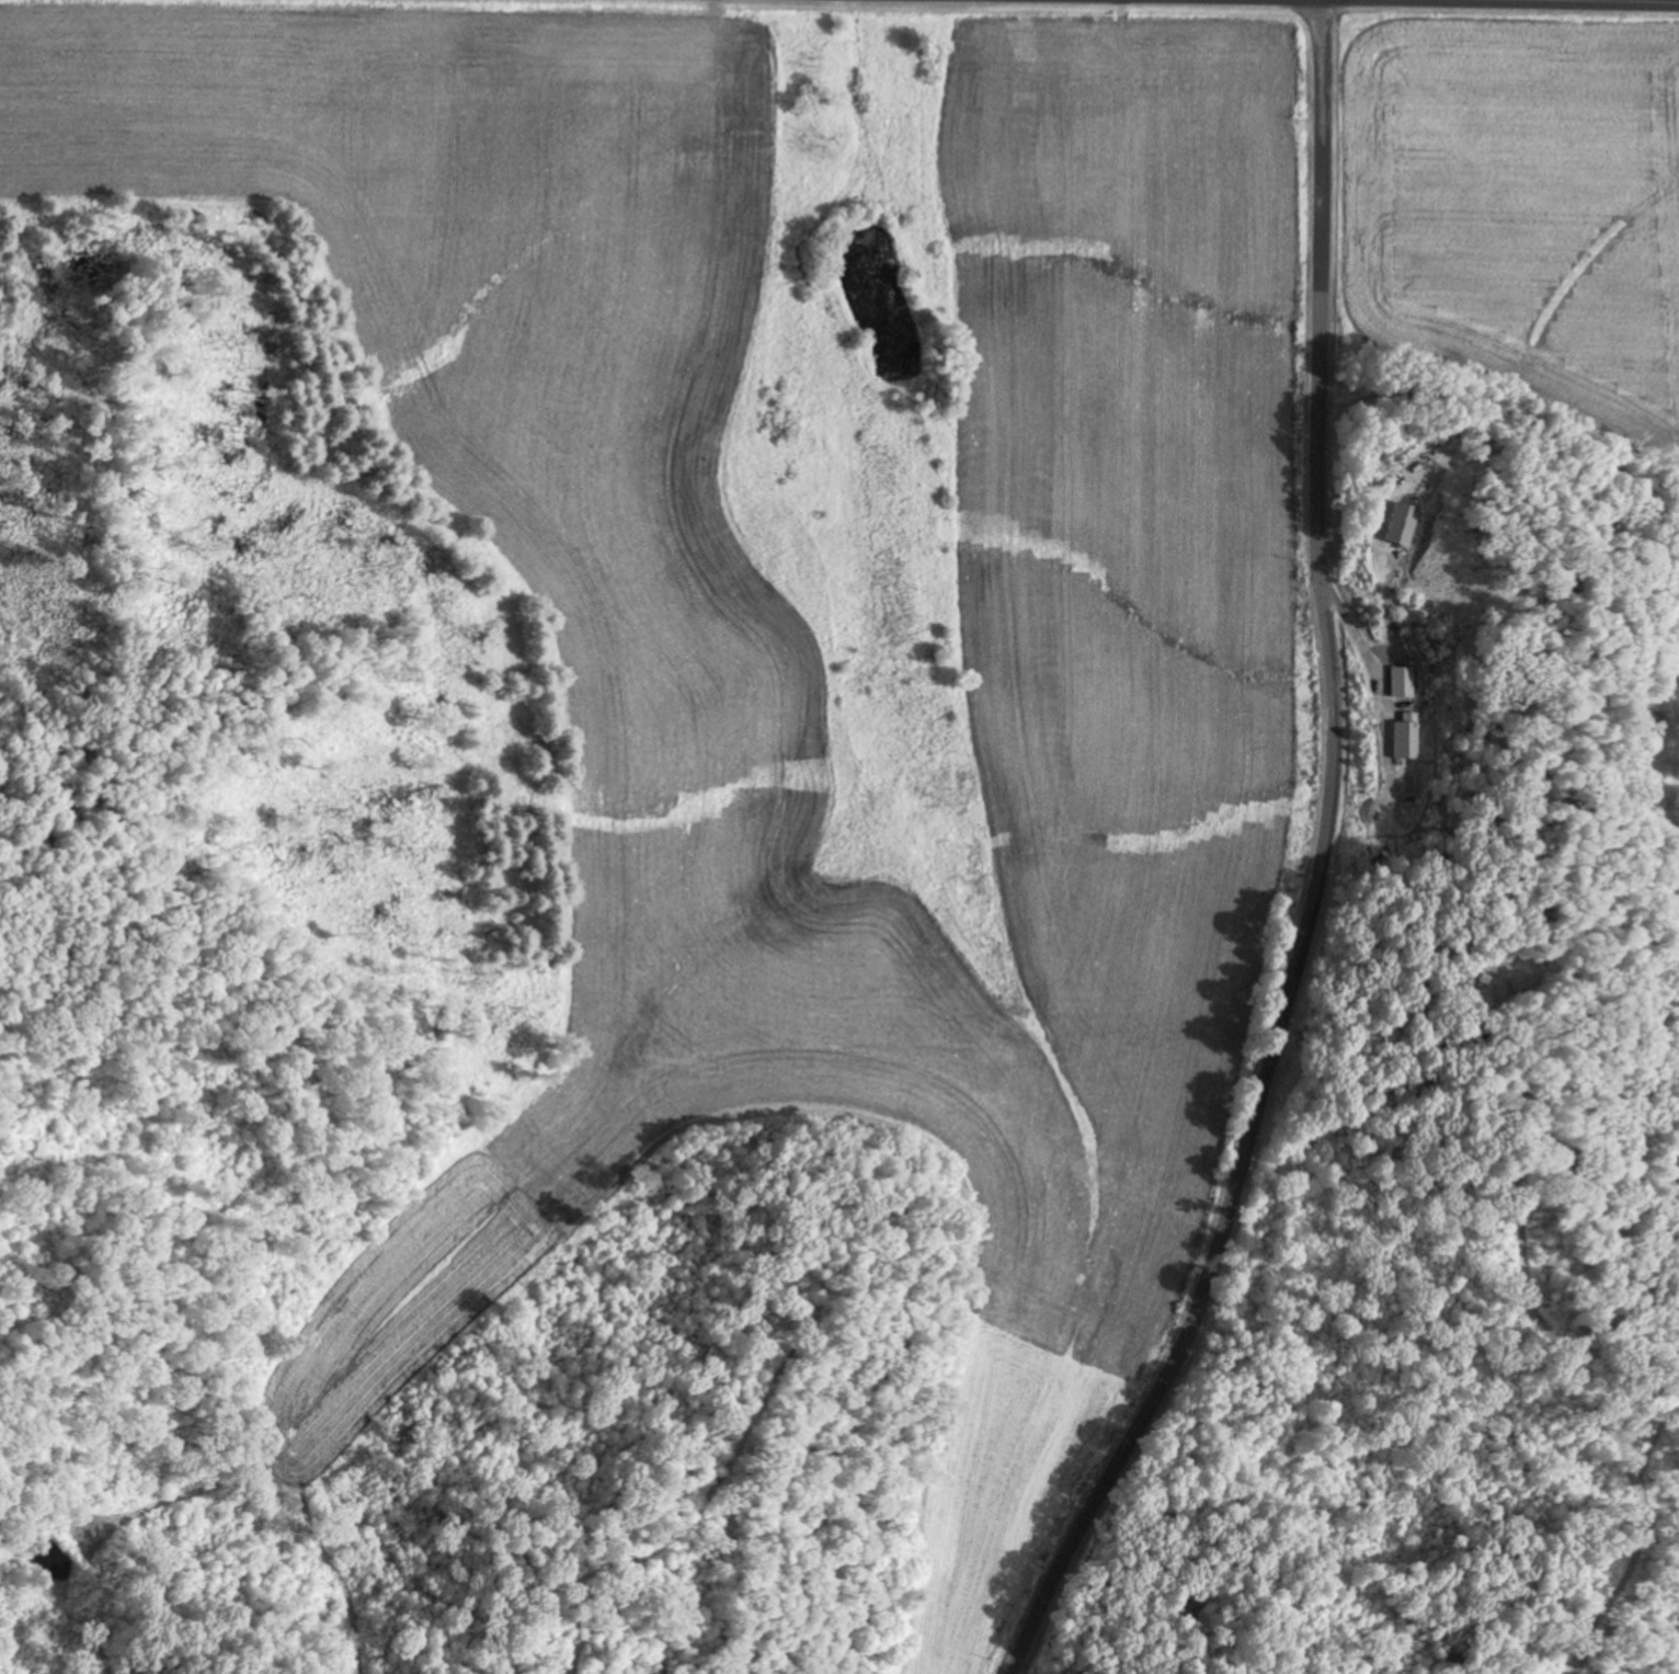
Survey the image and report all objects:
crop: (1510, 200)
building: (1394, 524)
building: (1401, 739)
road: (1317, 866)
crop: (753, 872)

